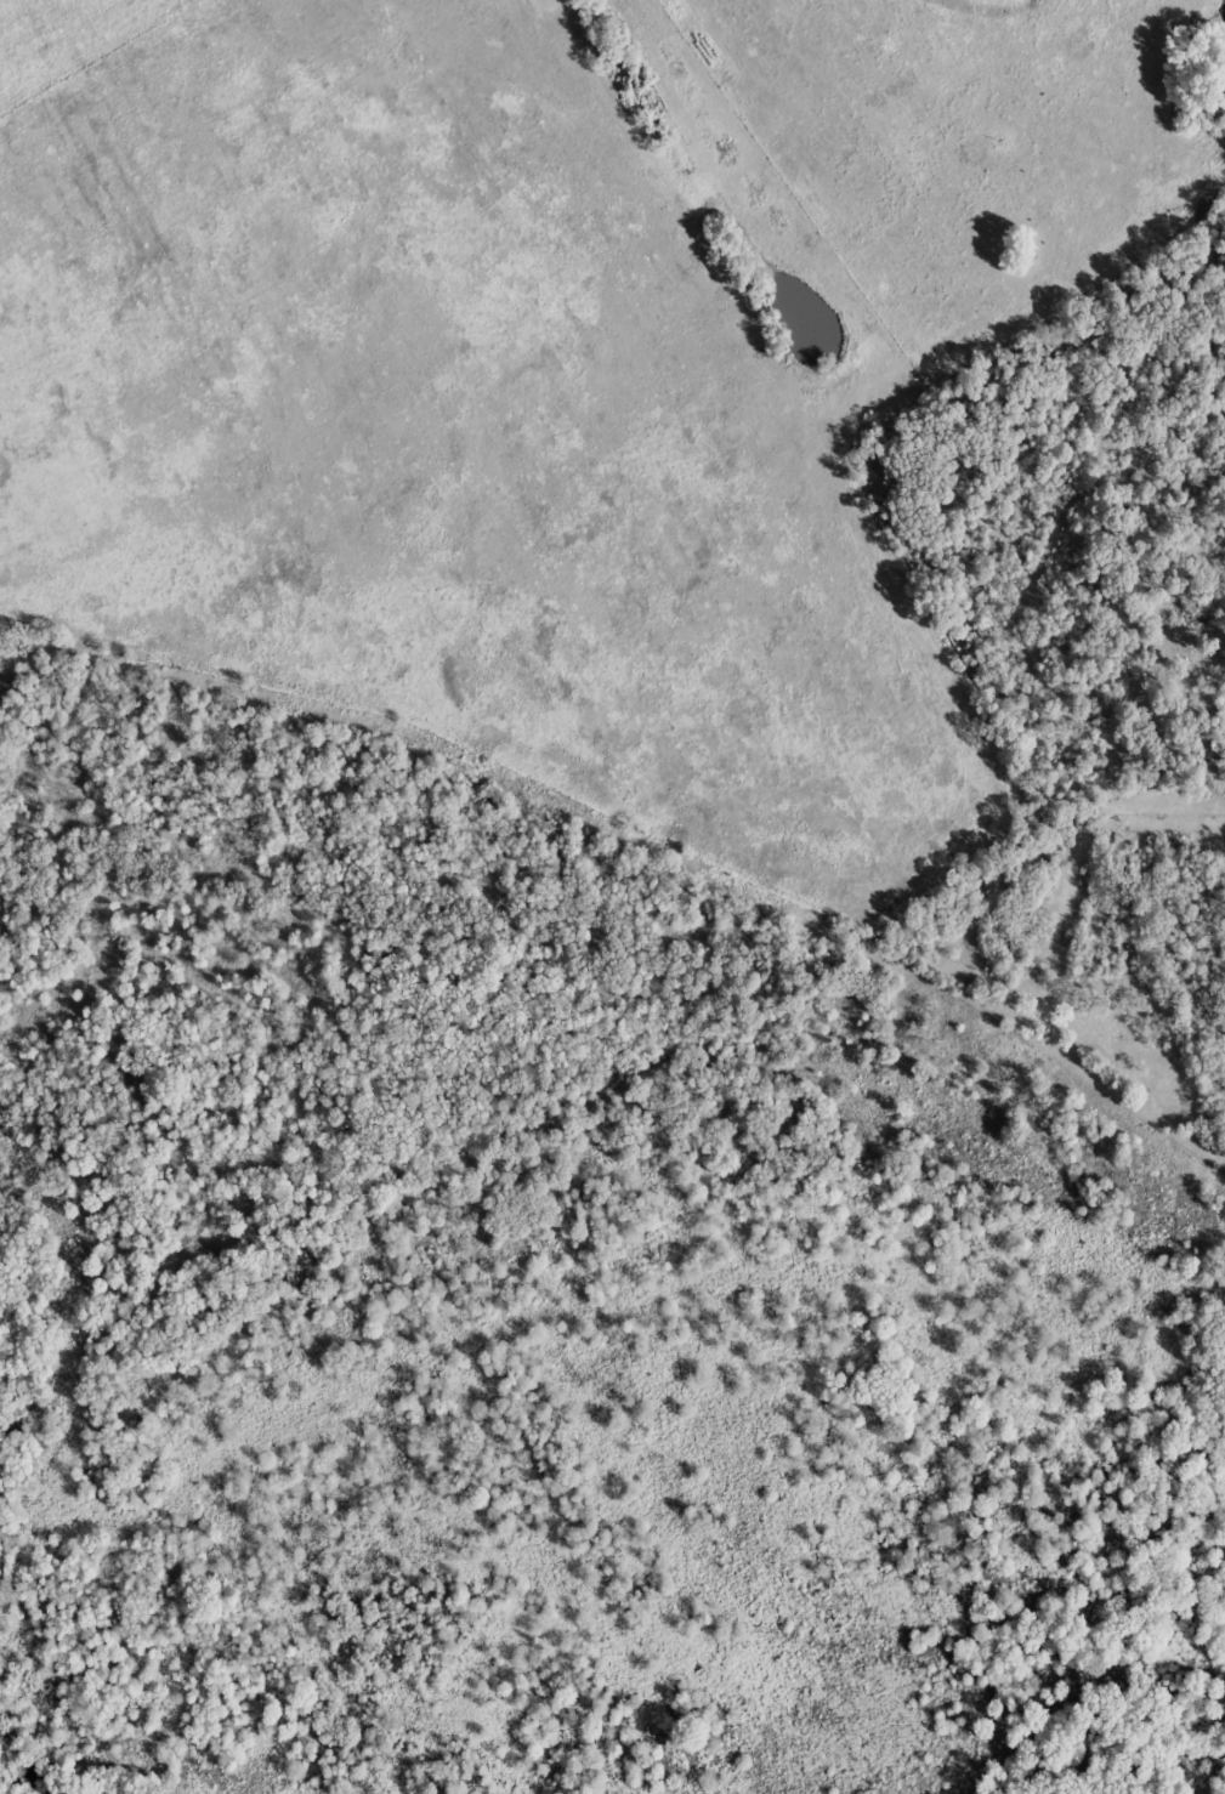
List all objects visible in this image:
road: (979, 19)

